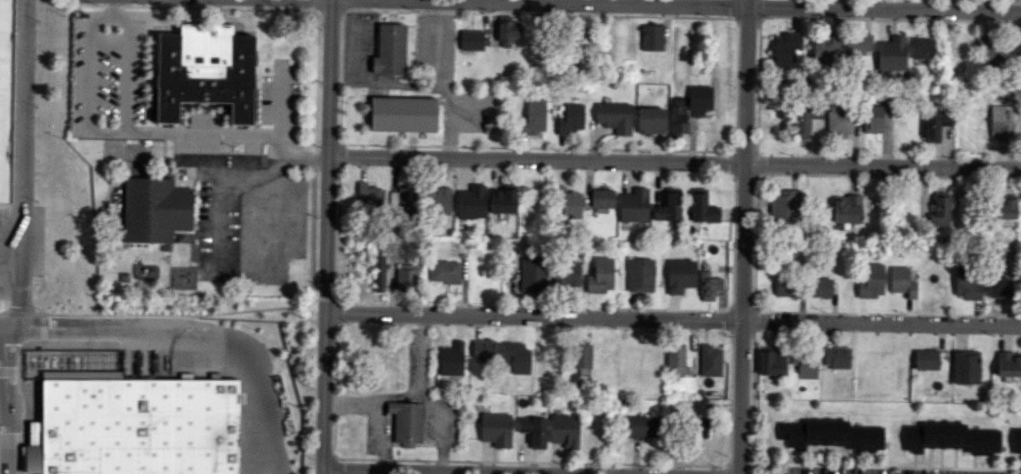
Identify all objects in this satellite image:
road: (701, 6)
building: (506, 30)
building: (651, 36)
building: (471, 39)
building: (857, 43)
building: (921, 47)
building: (786, 49)
building: (389, 50)
building: (825, 50)
building: (1016, 50)
building: (891, 53)
building: (990, 53)
road: (126, 69)
building: (204, 70)
road: (435, 81)
road: (386, 82)
building: (3, 92)
building: (699, 96)
building: (403, 113)
building: (677, 115)
building: (613, 116)
building: (533, 117)
building: (804, 117)
building: (570, 118)
building: (872, 118)
building: (650, 120)
building: (839, 120)
building: (1000, 121)
building: (935, 123)
road: (145, 130)
road: (674, 162)
road: (22, 165)
road: (221, 190)
building: (371, 197)
building: (392, 197)
building: (602, 197)
building: (502, 199)
building: (405, 200)
building: (439, 200)
building: (471, 202)
building: (569, 202)
building: (633, 205)
building: (668, 206)
building: (784, 206)
building: (1004, 206)
building: (702, 207)
building: (846, 208)
building: (154, 209)
building: (939, 211)
road: (326, 236)
road: (745, 237)
building: (443, 270)
building: (378, 273)
building: (567, 273)
building: (532, 274)
building: (639, 274)
building: (600, 275)
building: (680, 275)
building: (405, 277)
building: (901, 280)
building: (871, 281)
building: (966, 281)
building: (708, 285)
building: (786, 286)
building: (819, 287)
building: (999, 287)
road: (673, 319)
road: (190, 328)
building: (484, 349)
building: (581, 355)
building: (836, 356)
building: (517, 357)
building: (451, 358)
building: (675, 359)
building: (925, 359)
building: (709, 360)
building: (771, 361)
building: (804, 363)
building: (1008, 363)
building: (965, 366)
building: (101, 374)
building: (572, 380)
road: (3, 391)
road: (7, 400)
building: (406, 422)
building: (638, 425)
parking lot: (11, 426)
building: (133, 427)
building: (698, 427)
building: (495, 429)
road: (4, 430)
building: (533, 430)
building: (564, 430)
building: (829, 434)
building: (948, 437)
building: (1015, 439)
road: (4, 471)
road: (453, 471)

